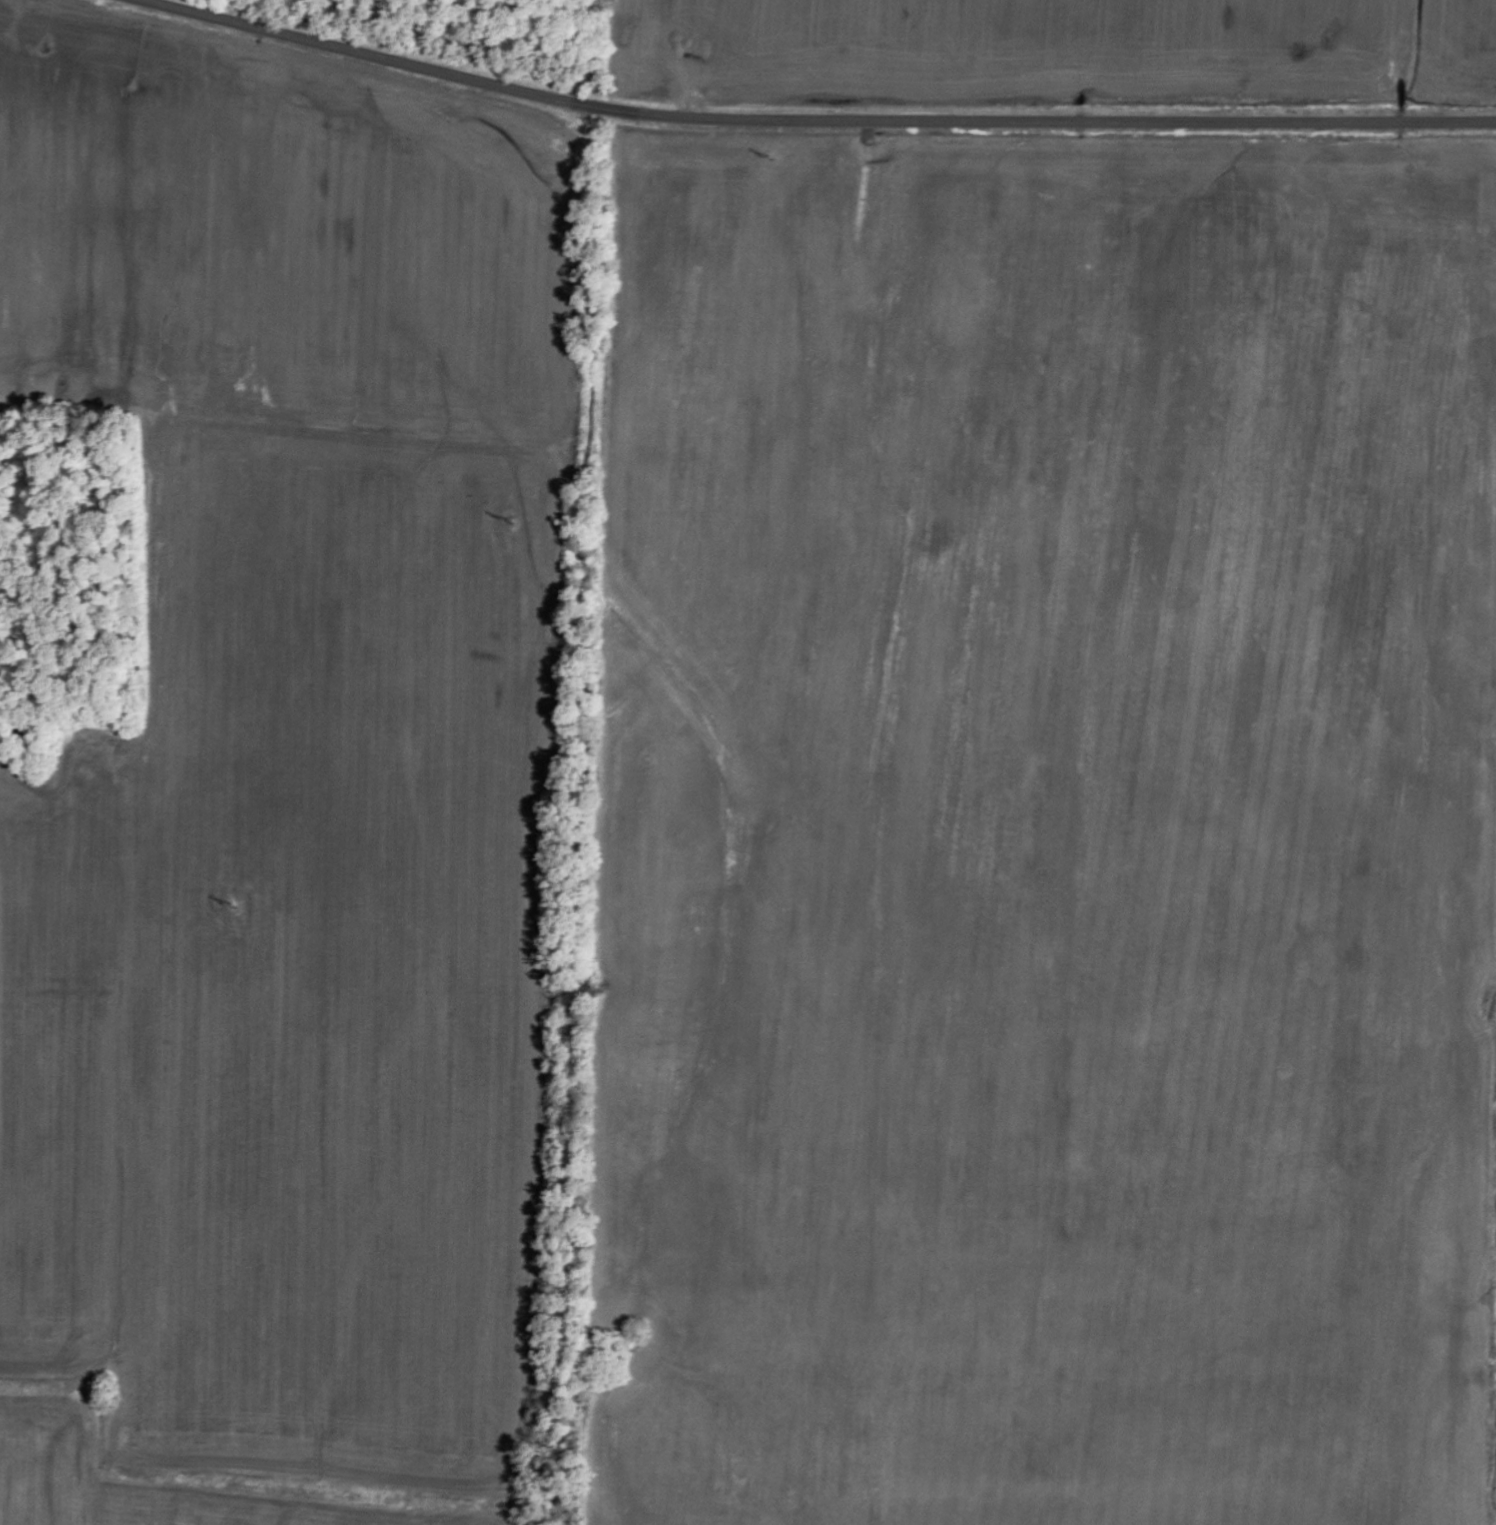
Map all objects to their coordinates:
road: (809, 122)
power tower: (778, 156)
power tower: (519, 526)
power tower: (243, 906)

